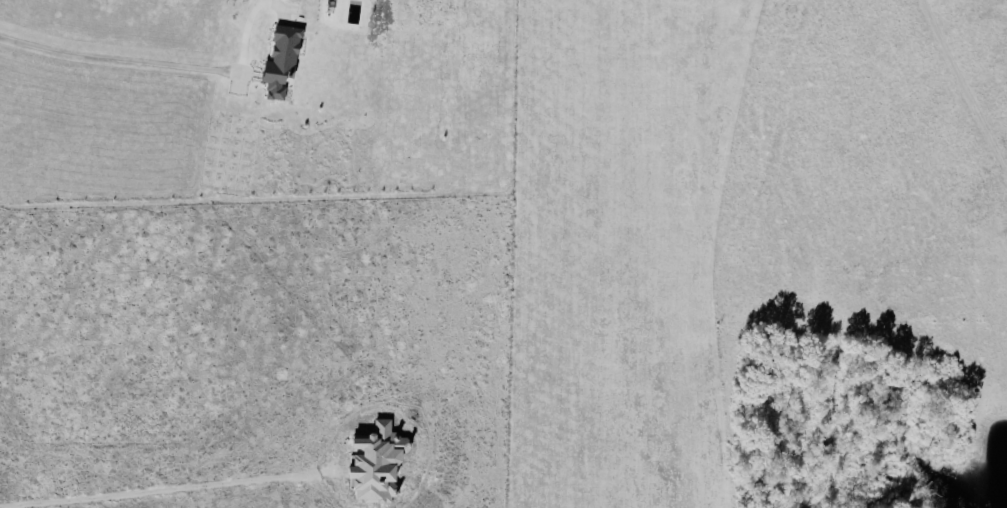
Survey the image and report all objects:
road: (119, 64)
building: (284, 64)
building: (381, 462)
road: (283, 478)

